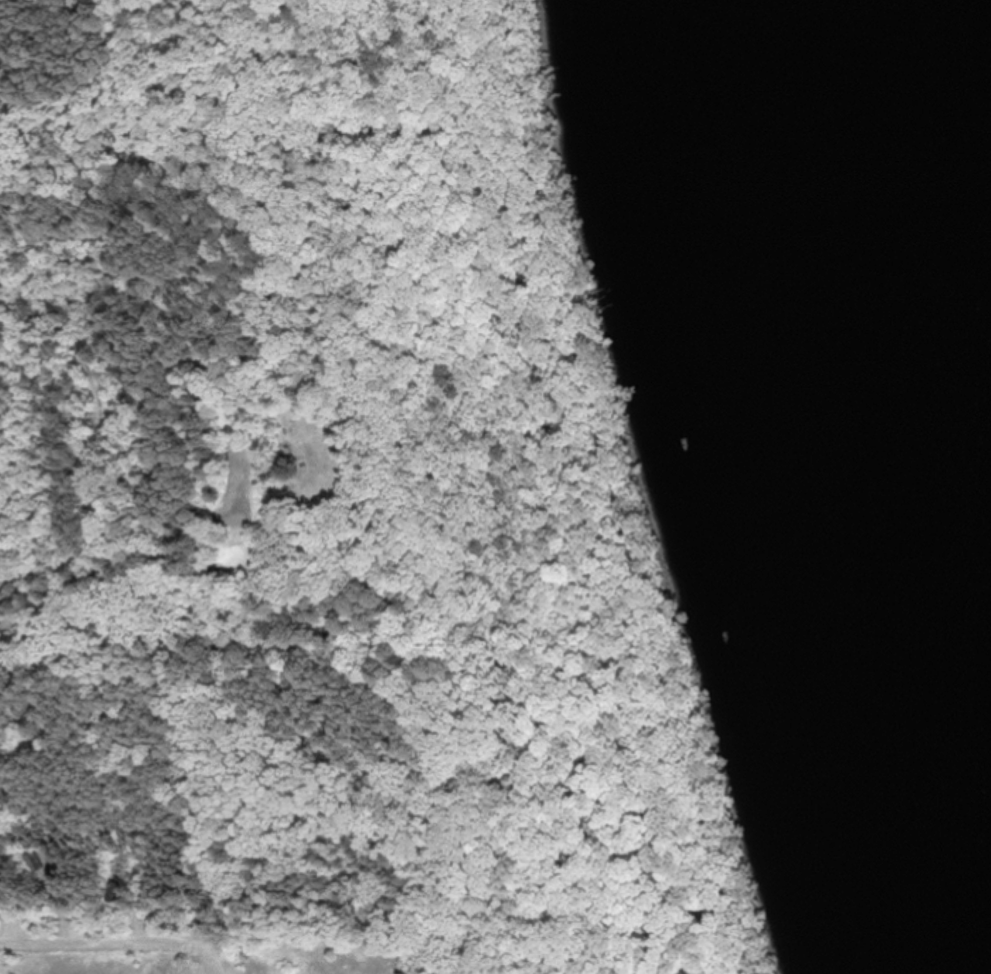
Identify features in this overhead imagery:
road: (70, 38)
road: (85, 364)
parking lot: (248, 468)
road: (613, 490)
park: (332, 518)
road: (64, 554)
road: (144, 582)
building: (34, 861)
building: (113, 893)
parking lot: (9, 927)
parking lot: (140, 927)
parking lot: (66, 929)
road: (113, 943)
road: (206, 973)

